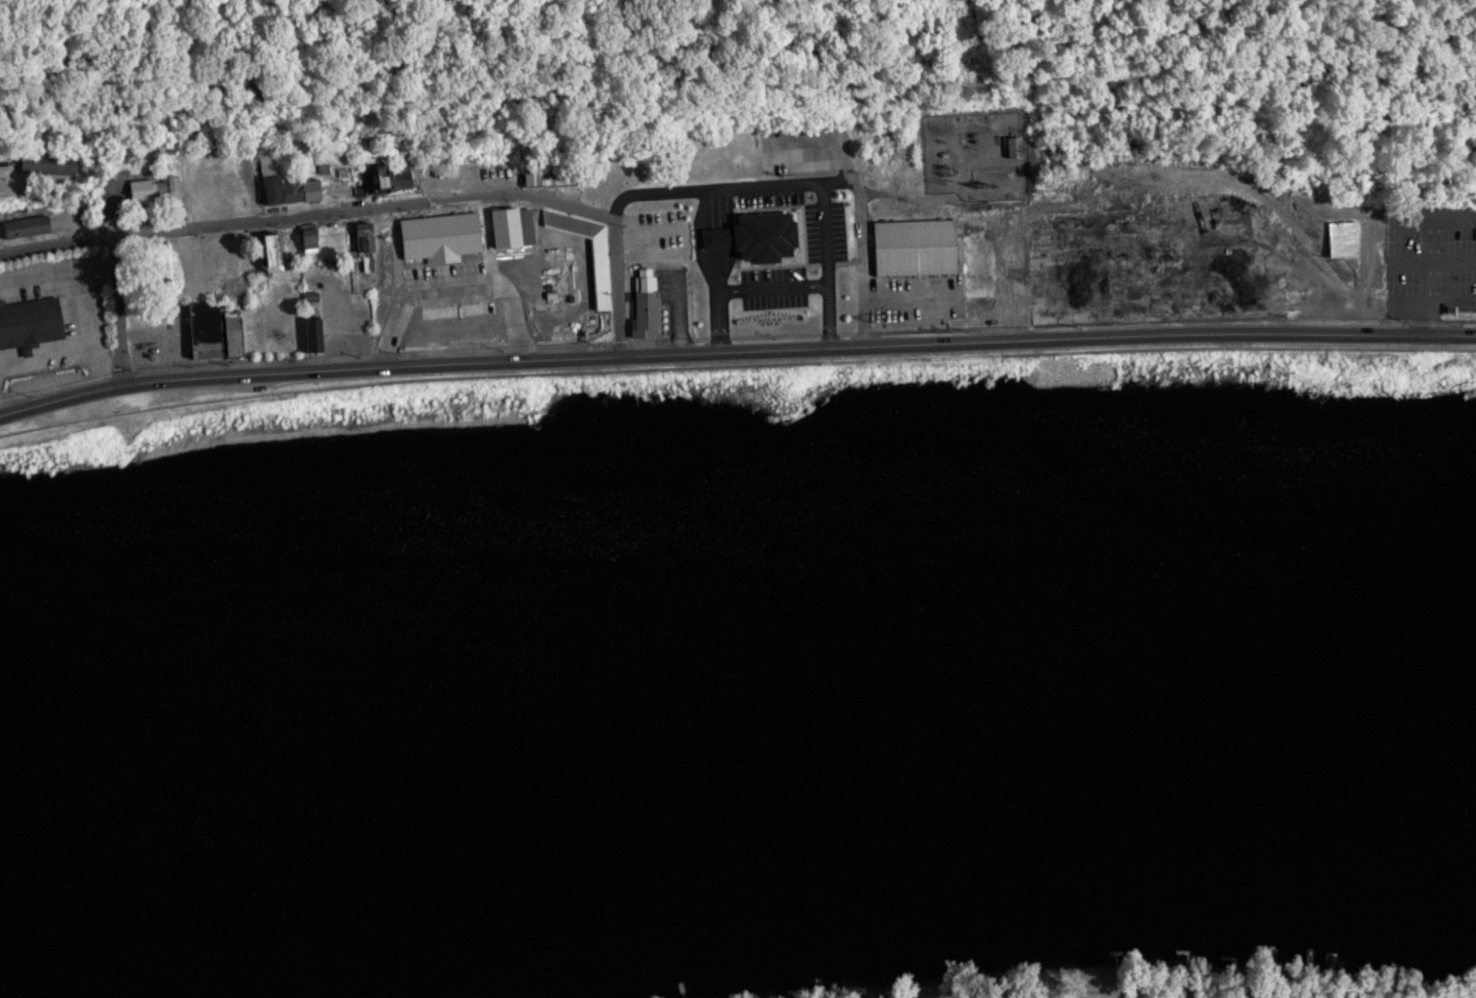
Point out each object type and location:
building: (1013, 147)
power substation: (971, 155)
building: (386, 177)
building: (531, 178)
building: (283, 184)
building: (151, 190)
road: (375, 206)
building: (22, 226)
building: (508, 226)
building: (361, 238)
building: (1340, 239)
building: (319, 243)
building: (913, 247)
building: (267, 251)
building: (1143, 258)
building: (979, 262)
parking lot: (1434, 264)
building: (598, 273)
road: (115, 308)
building: (643, 312)
building: (28, 320)
building: (310, 321)
building: (482, 327)
building: (210, 329)
road: (735, 350)
road: (735, 363)
river: (736, 684)

